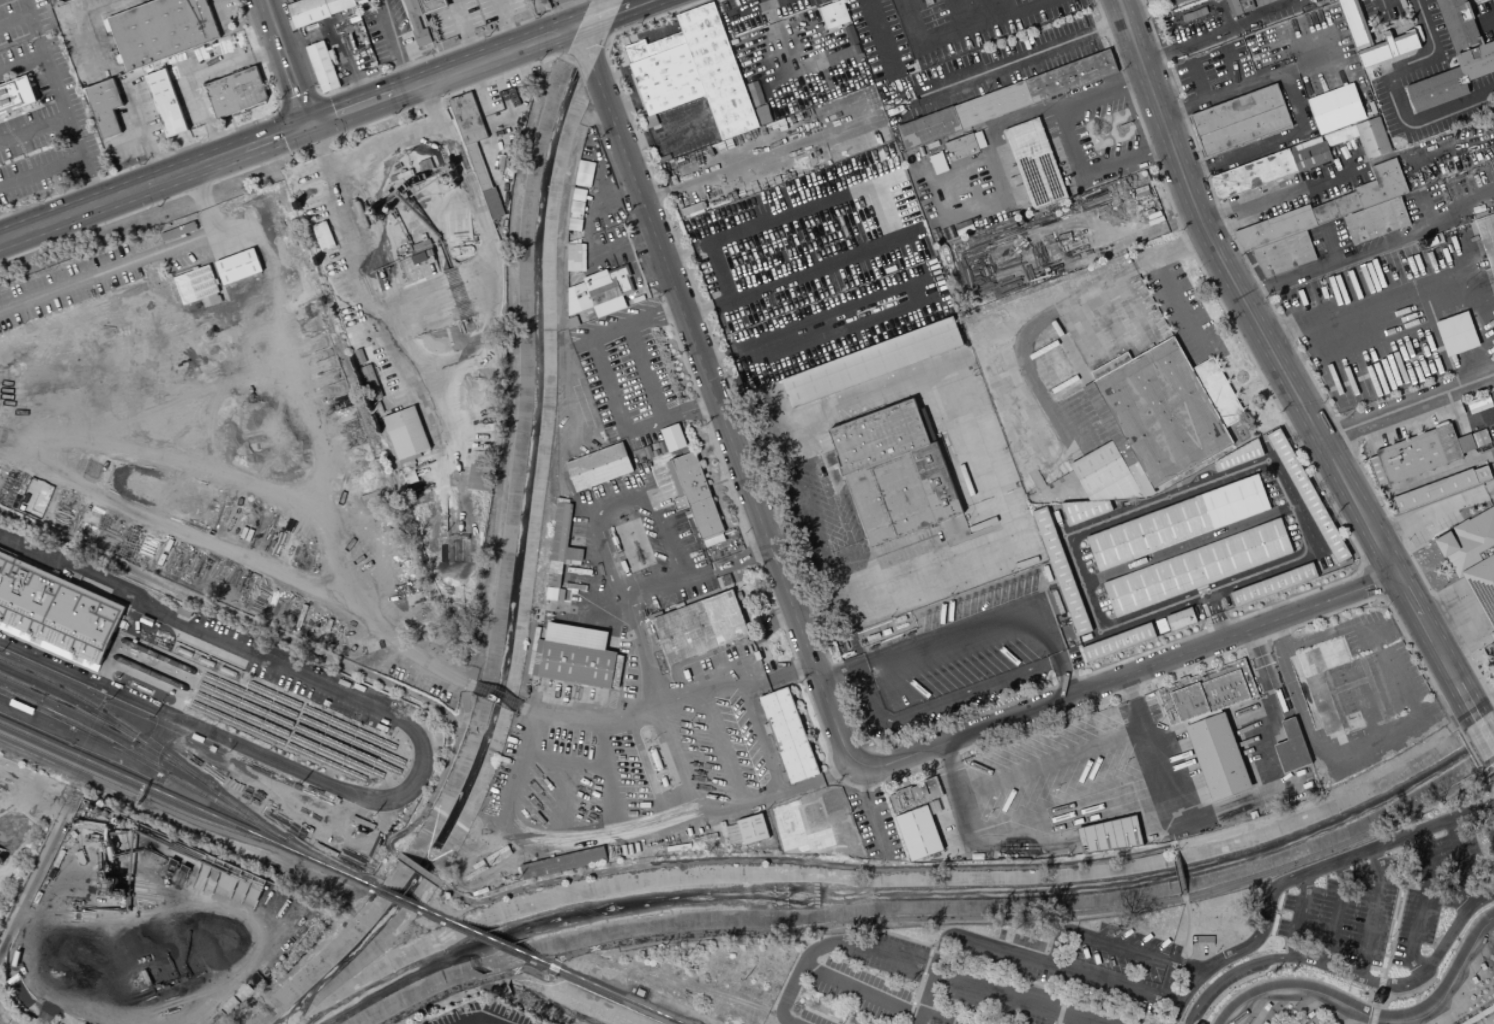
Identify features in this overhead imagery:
building: (355, 1)
road: (1120, 1)
building: (1176, 1)
road: (1382, 4)
building: (337, 5)
building: (540, 5)
building: (431, 6)
building: (1233, 7)
road: (747, 9)
road: (772, 10)
building: (306, 11)
road: (574, 12)
parking lot: (757, 13)
building: (1189, 13)
building: (833, 14)
road: (962, 15)
road: (15, 19)
road: (592, 20)
building: (415, 22)
road: (504, 23)
building: (1355, 23)
building: (1459, 25)
road: (564, 29)
building: (161, 30)
road: (464, 30)
road: (960, 32)
building: (356, 36)
road: (339, 38)
road: (880, 38)
building: (377, 41)
road: (396, 43)
road: (603, 43)
road: (1192, 43)
road: (584, 45)
building: (651, 46)
building: (1388, 49)
road: (569, 55)
road: (287, 61)
road: (476, 61)
road: (1010, 62)
building: (1477, 62)
parking lot: (797, 63)
road: (23, 65)
building: (321, 66)
road: (403, 66)
building: (716, 70)
road: (196, 74)
building: (1070, 75)
road: (54, 78)
building: (666, 78)
road: (1195, 80)
road: (628, 85)
road: (865, 86)
building: (1438, 90)
building: (236, 92)
road: (1395, 92)
building: (16, 94)
road: (319, 95)
road: (479, 97)
road: (1295, 100)
building: (166, 103)
building: (993, 104)
building: (105, 106)
building: (1336, 108)
road: (1023, 112)
road: (326, 117)
building: (466, 118)
building: (1240, 120)
building: (650, 121)
traffic signals: (311, 123)
building: (927, 127)
road: (664, 128)
road: (34, 130)
building: (1374, 137)
building: (979, 139)
road: (1071, 143)
road: (311, 145)
road: (318, 145)
road: (383, 146)
building: (960, 147)
road: (759, 156)
building: (1311, 156)
building: (937, 163)
building: (1035, 163)
building: (477, 166)
road: (40, 172)
building: (584, 173)
building: (1253, 174)
road: (89, 179)
road: (155, 180)
building: (1382, 184)
road: (1121, 186)
road: (1292, 192)
building: (578, 194)
road: (202, 199)
building: (492, 203)
building: (1348, 204)
building: (576, 207)
building: (1482, 211)
building: (1325, 212)
building: (1125, 215)
road: (1221, 216)
road: (861, 218)
building: (1376, 221)
building: (574, 224)
road: (1171, 225)
building: (1275, 228)
building: (178, 231)
road: (1414, 235)
building: (323, 236)
building: (1139, 237)
road: (1139, 237)
parking lot: (809, 238)
building: (1487, 238)
road: (1329, 243)
road: (621, 244)
road: (490, 245)
building: (1050, 249)
road: (1110, 249)
building: (1283, 254)
building: (575, 257)
building: (747, 261)
road: (129, 263)
building: (237, 266)
road: (1297, 274)
road: (995, 281)
building: (195, 284)
parking lot: (68, 285)
building: (600, 292)
road: (922, 293)
building: (1304, 296)
road: (440, 300)
road: (1340, 307)
road: (1180, 308)
road: (1053, 311)
road: (392, 316)
road: (1464, 316)
road: (635, 323)
parking lot: (1372, 327)
road: (1455, 330)
road: (1443, 332)
building: (1458, 334)
building: (871, 362)
building: (1110, 365)
road: (1278, 366)
parking lot: (633, 371)
road: (644, 373)
building: (370, 382)
building: (381, 386)
road: (607, 386)
building: (1218, 392)
road: (714, 399)
building: (1478, 404)
road: (1406, 406)
building: (378, 407)
road: (1452, 408)
building: (1163, 412)
road: (281, 413)
road: (669, 417)
road: (1477, 418)
road: (571, 426)
road: (1340, 431)
building: (405, 434)
building: (878, 437)
building: (671, 438)
road: (592, 444)
road: (1349, 444)
building: (1465, 444)
road: (1326, 450)
road: (977, 453)
building: (1414, 455)
road: (166, 456)
building: (1240, 456)
building: (598, 467)
road: (1441, 474)
building: (1483, 475)
building: (1105, 476)
building: (479, 478)
road: (717, 483)
building: (936, 483)
building: (1435, 491)
road: (1490, 494)
building: (1308, 495)
building: (695, 497)
road: (1167, 497)
building: (890, 500)
road: (833, 502)
road: (622, 503)
building: (1084, 511)
road: (1430, 516)
building: (1178, 523)
road: (1393, 527)
building: (560, 544)
road: (1188, 545)
road: (752, 546)
road: (238, 557)
building: (1474, 558)
road: (1387, 562)
building: (1197, 568)
road: (1363, 568)
road: (83, 569)
building: (1061, 571)
road: (694, 573)
road: (1375, 583)
building: (1274, 584)
road: (1403, 587)
building: (554, 594)
road: (1197, 594)
road: (1382, 598)
building: (182, 611)
building: (55, 612)
road: (1214, 615)
building: (1181, 618)
building: (145, 620)
road: (1435, 622)
building: (699, 626)
road: (972, 628)
railway: (98, 630)
road: (1278, 634)
building: (575, 635)
building: (1118, 641)
road: (302, 645)
railway: (95, 648)
road: (1465, 652)
road: (764, 655)
building: (536, 657)
building: (1324, 657)
building: (576, 664)
road: (1189, 665)
road: (280, 668)
road: (1352, 670)
building: (616, 671)
road: (1129, 674)
road: (1357, 682)
road: (1400, 682)
building: (1350, 684)
building: (1373, 687)
road: (691, 688)
building: (1207, 691)
road: (496, 697)
road: (943, 700)
building: (1325, 702)
road: (1006, 704)
road: (1493, 705)
building: (21, 706)
road: (659, 709)
road: (1272, 709)
railway: (105, 712)
road: (1368, 712)
road: (1303, 715)
road: (1484, 733)
building: (787, 735)
road: (1146, 740)
road: (154, 742)
road: (78, 743)
road: (237, 743)
road: (723, 744)
railway: (143, 745)
building: (1292, 747)
road: (1468, 748)
building: (1217, 757)
railway: (139, 758)
road: (1050, 758)
road: (566, 762)
road: (520, 771)
road: (611, 775)
road: (910, 776)
road: (1486, 780)
road: (898, 781)
road: (26, 791)
railway: (138, 793)
building: (914, 795)
road: (562, 800)
railway: (180, 801)
road: (1486, 804)
road: (869, 808)
road: (1096, 818)
road: (1486, 821)
parking lot: (872, 823)
road: (664, 826)
building: (751, 829)
building: (798, 830)
building: (918, 833)
building: (1110, 835)
road: (14, 853)
railway: (318, 858)
building: (562, 862)
road: (805, 862)
road: (1463, 863)
road: (35, 870)
road: (419, 870)
road: (1179, 871)
road: (1180, 872)
road: (1291, 878)
railway: (369, 885)
railway: (399, 899)
road: (1421, 903)
parking lot: (1385, 904)
road: (1336, 912)
road: (1373, 912)
railway: (436, 915)
road: (939, 917)
road: (1295, 923)
road: (1187, 924)
road: (959, 937)
road: (1391, 937)
railway: (493, 940)
road: (830, 943)
road: (1115, 945)
road: (1238, 968)
road: (1420, 974)
road: (1012, 975)
parking lot: (981, 979)
road: (1472, 988)
road: (860, 989)
road: (1173, 989)
railway: (608, 991)
road: (924, 998)
road: (1061, 1008)
road: (850, 1010)
road: (1293, 1013)
road: (42, 1015)
road: (821, 1015)
building: (1480, 1015)
road: (1480, 1015)
road: (937, 1016)
road: (2, 1018)
road: (1375, 1019)
road: (1486, 1019)
road: (481, 1020)
road: (939, 1021)

